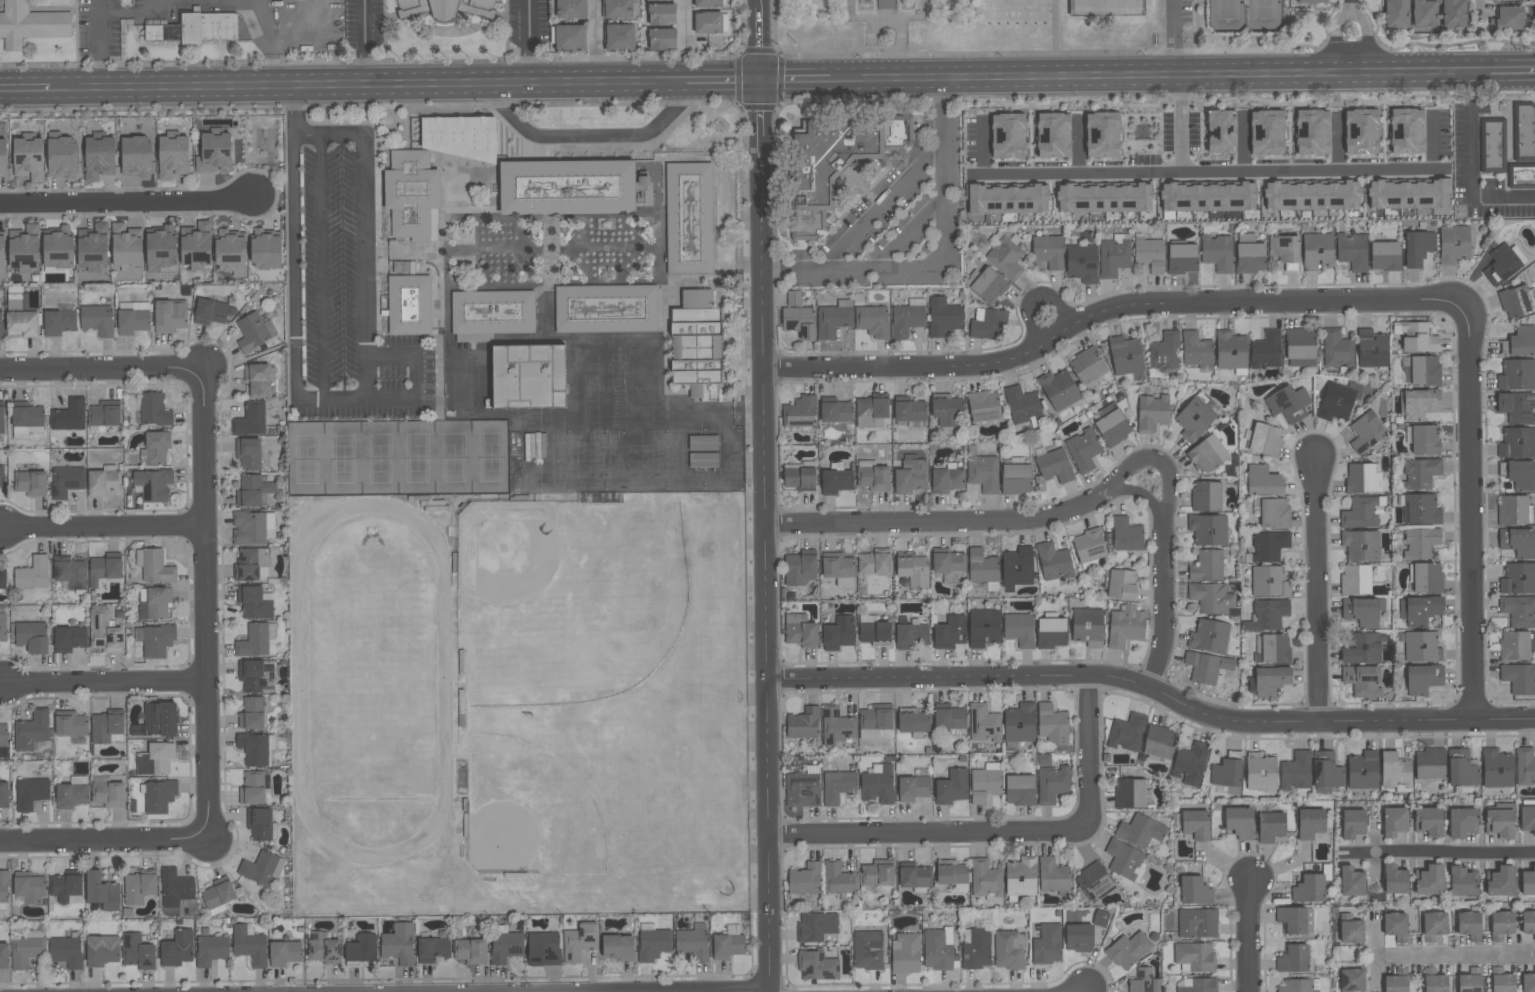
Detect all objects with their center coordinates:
building: (660, 0)
building: (1511, 0)
building: (1312, 1)
road: (1353, 2)
building: (707, 4)
building: (571, 9)
building: (446, 10)
building: (1106, 10)
road: (1481, 10)
road: (133, 13)
building: (1424, 13)
building: (1396, 14)
building: (1454, 14)
park: (1246, 16)
building: (1509, 18)
road: (886, 21)
building: (708, 22)
road: (262, 23)
road: (686, 23)
building: (619, 24)
building: (30, 27)
building: (661, 27)
road: (1055, 30)
parking lot: (1180, 30)
building: (196, 32)
building: (568, 35)
road: (1337, 37)
road: (1368, 37)
road: (1174, 38)
road: (594, 41)
road: (872, 41)
road: (902, 41)
road: (363, 42)
road: (528, 42)
road: (98, 43)
road: (270, 53)
road: (1512, 71)
road: (273, 74)
road: (1161, 76)
road: (796, 80)
road: (722, 81)
road: (353, 86)
road: (11, 88)
road: (294, 112)
road: (1180, 123)
building: (1406, 128)
building: (1221, 129)
building: (1361, 129)
building: (1266, 130)
building: (1311, 130)
building: (1102, 132)
building: (1523, 132)
building: (1007, 133)
building: (1053, 133)
building: (1141, 133)
road: (591, 138)
road: (1430, 138)
road: (1242, 139)
road: (1336, 139)
road: (1077, 143)
road: (983, 144)
building: (1492, 145)
building: (214, 150)
building: (135, 154)
building: (28, 155)
building: (61, 155)
building: (99, 155)
building: (172, 155)
building: (3, 156)
road: (1470, 167)
road: (1206, 170)
building: (1521, 178)
building: (813, 180)
building: (566, 189)
building: (1407, 192)
building: (1311, 193)
building: (1207, 195)
building: (411, 196)
building: (1008, 197)
building: (1104, 197)
road: (125, 202)
road: (880, 205)
building: (690, 222)
road: (902, 227)
building: (1453, 244)
building: (93, 245)
building: (196, 245)
building: (125, 246)
building: (161, 246)
building: (57, 247)
building: (1284, 247)
building: (1418, 247)
building: (24, 248)
building: (265, 249)
building: (2, 251)
building: (1317, 251)
building: (1352, 251)
building: (230, 252)
building: (1047, 252)
building: (1217, 252)
building: (1519, 253)
building: (1149, 254)
building: (1384, 255)
building: (1005, 256)
building: (1114, 256)
building: (1182, 257)
building: (1249, 257)
road: (939, 262)
building: (1081, 263)
building: (1500, 265)
building: (403, 266)
road: (324, 270)
building: (986, 285)
parking lot: (343, 291)
building: (793, 298)
road: (1039, 299)
building: (1515, 302)
building: (409, 308)
road: (1105, 310)
building: (210, 312)
building: (606, 312)
building: (169, 316)
building: (491, 316)
building: (943, 316)
building: (132, 317)
building: (834, 318)
building: (907, 318)
building: (59, 320)
building: (97, 320)
building: (872, 320)
building: (799, 321)
building: (0, 323)
building: (22, 323)
building: (987, 324)
building: (254, 331)
building: (1417, 337)
building: (1519, 342)
building: (1299, 344)
building: (698, 347)
building: (1371, 348)
building: (1195, 349)
building: (1337, 349)
building: (1266, 350)
building: (1164, 351)
building: (1230, 351)
building: (1125, 356)
road: (258, 359)
building: (1086, 366)
road: (104, 370)
building: (1424, 370)
building: (1517, 375)
building: (257, 379)
building: (527, 379)
road: (416, 380)
building: (1061, 391)
building: (1335, 402)
road: (365, 403)
building: (1420, 403)
building: (1288, 404)
building: (1021, 405)
building: (983, 406)
building: (1516, 408)
building: (154, 409)
building: (835, 410)
building: (946, 410)
building: (871, 411)
building: (909, 412)
building: (1151, 412)
building: (104, 413)
building: (799, 413)
building: (69, 415)
building: (1, 419)
building: (250, 420)
building: (27, 421)
building: (1112, 428)
building: (1366, 432)
building: (1425, 439)
building: (1263, 440)
building: (703, 442)
building: (1517, 443)
building: (156, 447)
building: (1083, 450)
building: (248, 453)
building: (1207, 454)
road: (1145, 459)
park: (400, 460)
building: (703, 460)
park: (637, 461)
building: (1053, 465)
building: (983, 473)
building: (1420, 473)
building: (1520, 474)
building: (1, 475)
building: (911, 475)
building: (874, 476)
building: (798, 477)
building: (1016, 478)
building: (836, 479)
building: (947, 480)
building: (66, 481)
building: (1263, 481)
building: (103, 482)
building: (31, 483)
building: (153, 484)
building: (253, 491)
road: (1144, 494)
road: (763, 496)
building: (1206, 496)
building: (1421, 510)
building: (1512, 510)
building: (1274, 513)
building: (1360, 513)
road: (1471, 515)
road: (929, 521)
road: (1166, 527)
building: (253, 528)
road: (103, 529)
building: (1208, 530)
building: (1126, 534)
building: (1518, 541)
building: (1420, 543)
building: (1361, 545)
building: (1269, 546)
building: (1089, 548)
building: (874, 562)
building: (947, 562)
building: (1053, 562)
building: (251, 564)
building: (837, 565)
building: (155, 566)
building: (981, 566)
building: (1017, 566)
building: (1207, 566)
building: (104, 569)
building: (912, 569)
building: (32, 573)
building: (70, 574)
building: (1427, 577)
building: (1518, 578)
building: (2, 579)
building: (1355, 580)
building: (1269, 581)
building: (1122, 584)
road: (1318, 591)
building: (1211, 598)
building: (154, 602)
building: (254, 602)
road: (205, 603)
park: (555, 606)
building: (1419, 609)
building: (1518, 610)
building: (1361, 611)
building: (1267, 615)
road: (1165, 617)
building: (2, 624)
building: (1125, 626)
building: (983, 628)
building: (1019, 629)
building: (800, 630)
building: (874, 630)
building: (104, 631)
building: (949, 631)
building: (1051, 632)
building: (838, 633)
building: (910, 635)
building: (1209, 636)
building: (31, 637)
building: (69, 638)
building: (256, 640)
building: (157, 641)
building: (1514, 646)
building: (1422, 647)
building: (1275, 648)
building: (1360, 648)
building: (1206, 667)
building: (256, 675)
building: (1518, 678)
building: (1423, 679)
building: (1270, 680)
building: (1362, 680)
track: (373, 684)
road: (105, 685)
road: (1153, 690)
building: (251, 713)
building: (949, 718)
building: (157, 720)
building: (875, 721)
building: (912, 721)
building: (803, 723)
building: (984, 723)
building: (1019, 723)
building: (70, 724)
building: (1052, 724)
building: (836, 726)
building: (105, 727)
building: (31, 731)
building: (1126, 734)
building: (1159, 742)
building: (255, 748)
building: (156, 759)
building: (1189, 764)
building: (1429, 764)
building: (1525, 766)
building: (1461, 768)
building: (1496, 768)
building: (1362, 770)
building: (1296, 771)
building: (1260, 772)
building: (1326, 772)
building: (1395, 772)
building: (1226, 773)
building: (1050, 781)
building: (985, 783)
building: (877, 784)
building: (837, 786)
building: (951, 787)
building: (802, 788)
building: (913, 788)
building: (252, 789)
building: (1019, 790)
building: (30, 793)
building: (1130, 794)
building: (4, 795)
building: (71, 795)
road: (303, 795)
building: (159, 796)
road: (446, 818)
building: (1527, 819)
building: (1394, 821)
building: (1427, 821)
building: (1238, 822)
building: (1461, 822)
building: (259, 823)
building: (1310, 823)
building: (1352, 823)
building: (1499, 823)
building: (1195, 824)
building: (1270, 826)
building: (1140, 831)
road: (1003, 833)
road: (106, 841)
road: (1443, 853)
building: (1123, 859)
building: (261, 868)
building: (878, 873)
building: (951, 874)
building: (915, 876)
building: (1052, 876)
building: (1021, 877)
building: (805, 879)
building: (839, 879)
building: (985, 879)
building: (1394, 879)
building: (1429, 880)
building: (1351, 881)
building: (1500, 881)
building: (1094, 882)
building: (1462, 882)
building: (1528, 882)
building: (4, 886)
building: (65, 886)
building: (138, 888)
building: (175, 888)
building: (1309, 888)
building: (29, 889)
building: (1194, 890)
building: (101, 891)
building: (218, 895)
building: (1291, 919)
building: (1197, 923)
building: (1528, 923)
building: (1433, 925)
building: (1469, 925)
building: (1501, 925)
building: (816, 926)
building: (1395, 927)
building: (1350, 930)
road: (1249, 935)
building: (1078, 937)
building: (579, 942)
building: (398, 944)
building: (653, 944)
building: (692, 944)
building: (249, 945)
building: (1047, 945)
building: (505, 946)
building: (727, 946)
building: (617, 947)
building: (27, 948)
building: (322, 948)
building: (976, 948)
building: (176, 949)
building: (360, 949)
building: (432, 949)
building: (543, 949)
building: (101, 950)
building: (211, 950)
building: (867, 950)
building: (937, 950)
building: (1009, 950)
building: (1128, 950)
building: (470, 951)
building: (66, 952)
building: (137, 952)
building: (284, 953)
building: (905, 953)
building: (4, 955)
building: (1194, 957)
road: (1457, 957)
building: (1293, 959)
building: (817, 966)
building: (1352, 979)
building: (1396, 981)
building: (1434, 981)
building: (1470, 981)
building: (1501, 981)
building: (1144, 982)
building: (1528, 982)
building: (1196, 985)
building: (1300, 985)

